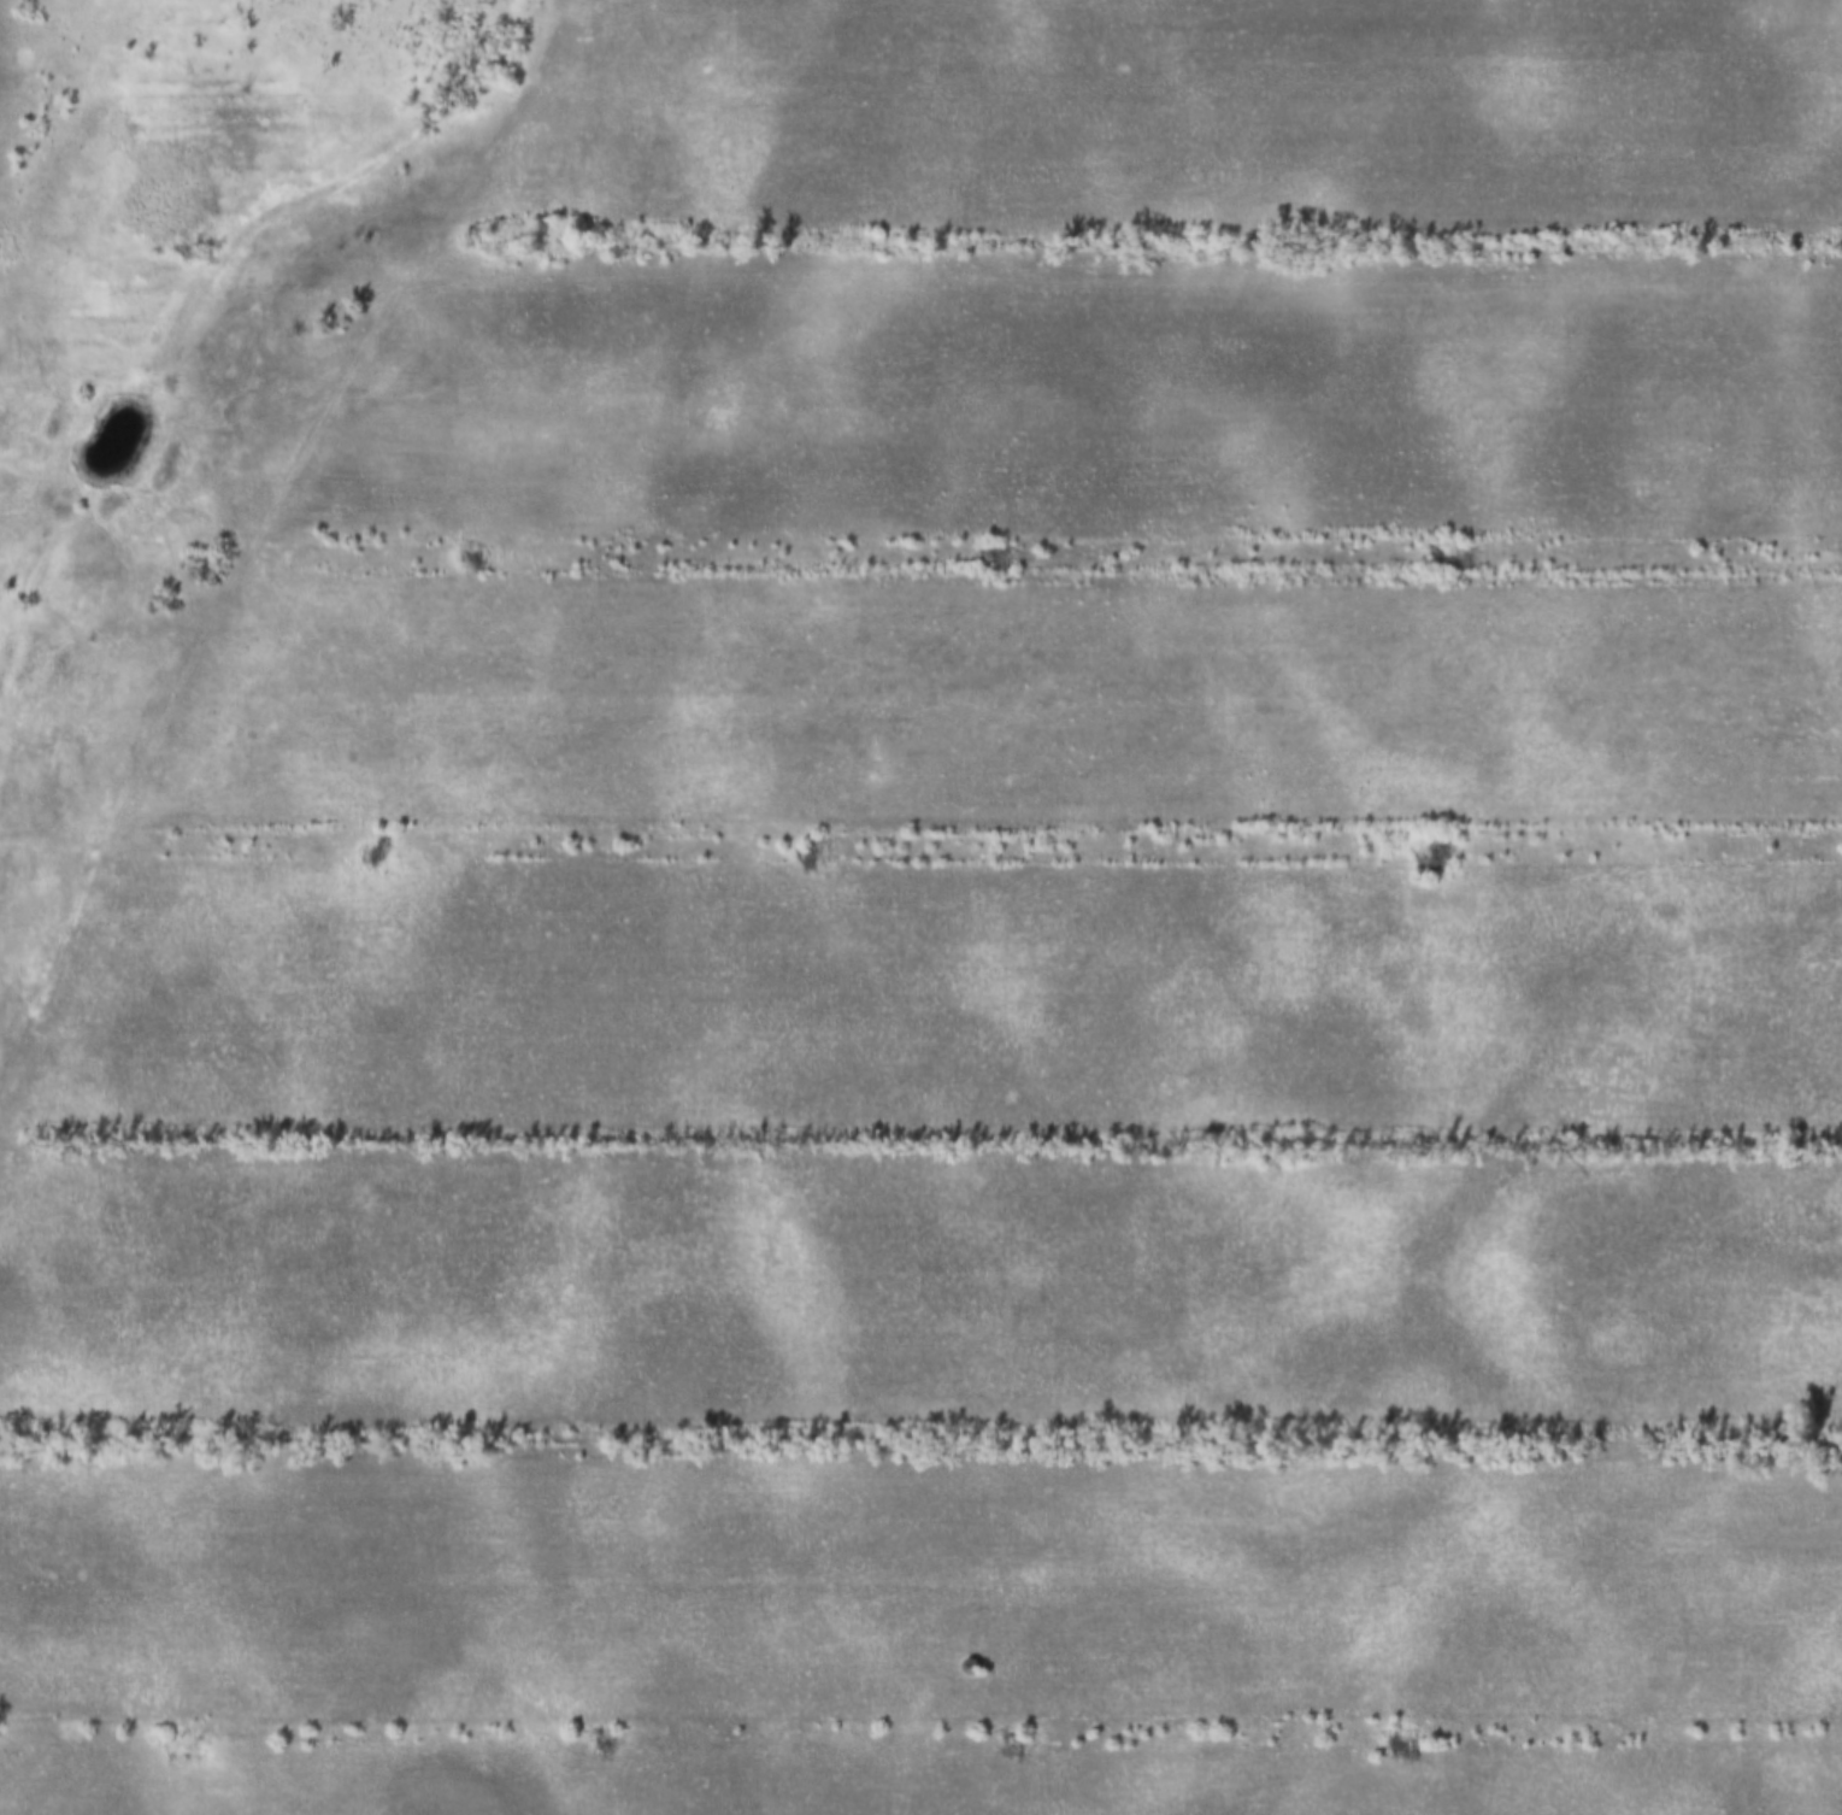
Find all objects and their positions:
building: (972, 1669)

